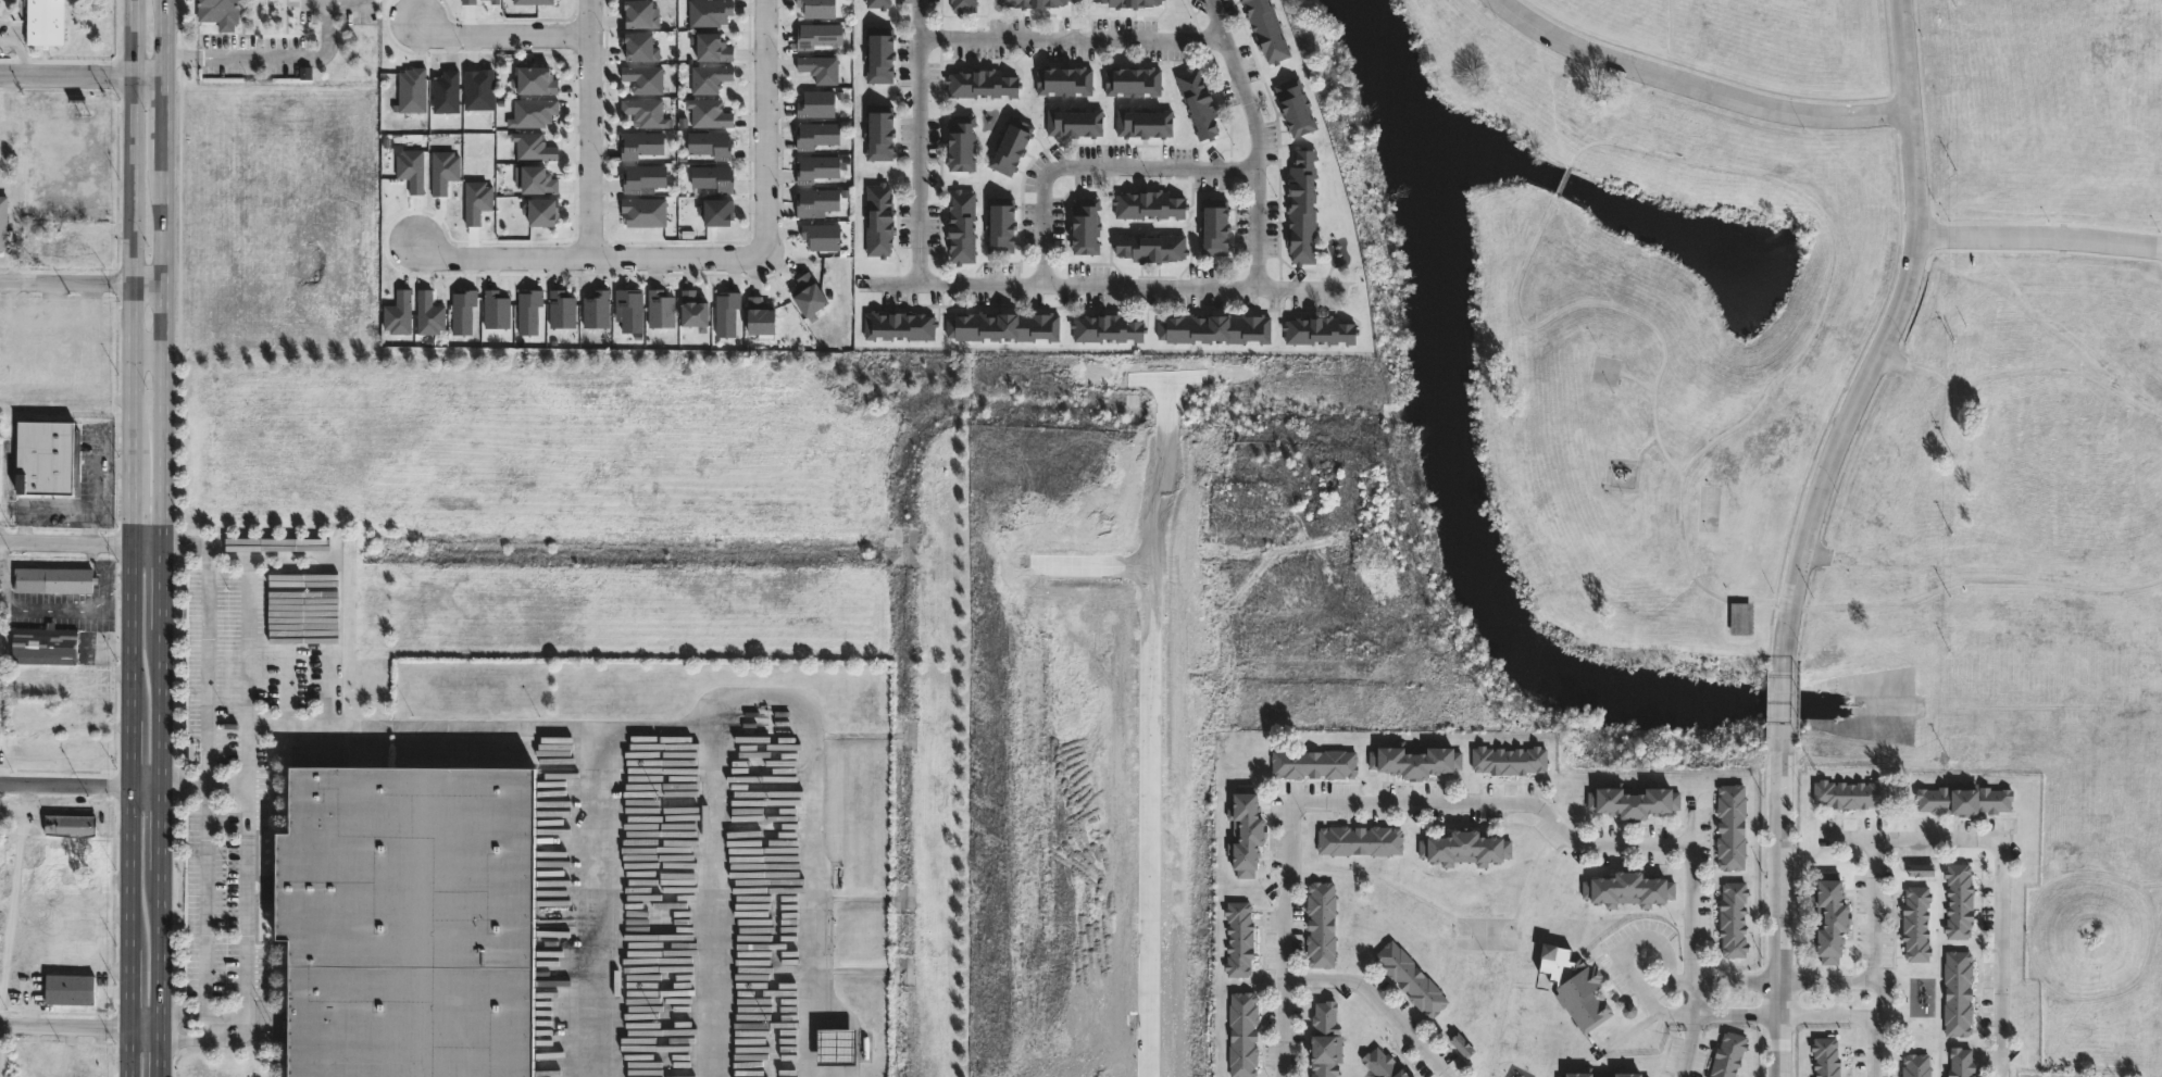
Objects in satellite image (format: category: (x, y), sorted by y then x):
building: (468, 1)
building: (496, 1)
building: (534, 2)
building: (880, 3)
building: (1030, 3)
building: (1130, 3)
building: (961, 5)
building: (818, 8)
road: (328, 9)
building: (221, 12)
building: (709, 12)
building: (640, 13)
road: (918, 17)
building: (47, 22)
building: (1264, 30)
building: (818, 35)
road: (501, 37)
road: (1072, 37)
road: (164, 38)
building: (641, 46)
building: (713, 48)
road: (18, 53)
building: (882, 53)
road: (242, 58)
building: (820, 67)
road: (82, 77)
building: (645, 77)
building: (710, 77)
building: (536, 79)
building: (1062, 82)
building: (1130, 82)
building: (979, 84)
road: (1697, 87)
building: (479, 88)
building: (412, 90)
building: (447, 91)
building: (818, 103)
building: (1196, 103)
building: (1296, 105)
building: (647, 111)
building: (534, 112)
building: (708, 113)
road: (163, 118)
building: (1072, 123)
building: (1141, 123)
building: (0, 124)
road: (592, 127)
road: (765, 127)
building: (882, 130)
building: (818, 135)
building: (642, 143)
building: (959, 143)
building: (712, 145)
building: (1011, 145)
building: (534, 147)
road: (918, 160)
road: (1095, 165)
building: (817, 167)
building: (412, 168)
building: (443, 170)
building: (643, 176)
building: (714, 177)
building: (538, 179)
road: (1562, 180)
building: (477, 200)
building: (817, 201)
building: (1146, 205)
building: (1300, 206)
building: (543, 210)
building: (645, 211)
building: (720, 211)
building: (876, 218)
building: (3, 224)
building: (998, 226)
building: (1083, 226)
building: (959, 228)
building: (1213, 228)
road: (1834, 230)
building: (822, 235)
road: (2039, 238)
building: (80, 239)
building: (1149, 248)
road: (592, 255)
road: (80, 283)
road: (893, 283)
road: (1234, 286)
road: (1304, 286)
building: (812, 295)
building: (497, 309)
building: (563, 309)
building: (598, 309)
building: (632, 309)
building: (661, 309)
building: (696, 309)
building: (463, 310)
building: (529, 310)
building: (727, 312)
building: (399, 313)
building: (429, 313)
building: (763, 316)
building: (899, 325)
building: (1004, 325)
building: (1108, 327)
building: (1217, 328)
building: (1320, 329)
road: (1888, 334)
road: (148, 347)
road: (163, 352)
road: (1638, 380)
park: (1790, 401)
road: (1645, 447)
building: (47, 455)
building: (1622, 481)
road: (1635, 489)
park: (1708, 508)
road: (133, 538)
road: (82, 542)
road: (1684, 544)
building: (54, 579)
road: (163, 588)
road: (2152, 588)
building: (1740, 618)
building: (45, 644)
road: (1783, 703)
road: (161, 709)
building: (1413, 760)
building: (1508, 760)
building: (1312, 763)
road: (79, 785)
road: (207, 787)
road: (184, 788)
road: (247, 789)
building: (1849, 793)
building: (1962, 799)
building: (1632, 800)
road: (82, 807)
road: (1290, 824)
building: (71, 826)
building: (1729, 827)
road: (160, 829)
building: (1244, 830)
road: (1849, 837)
road: (1935, 838)
building: (1358, 840)
building: (1463, 849)
road: (1690, 873)
road: (1377, 877)
road: (2147, 885)
building: (1626, 889)
building: (1958, 901)
road: (22, 904)
road: (1782, 914)
building: (1829, 917)
building: (1732, 919)
building: (409, 921)
building: (1915, 923)
building: (1320, 925)
road: (2158, 927)
park: (1484, 934)
building: (1237, 939)
road: (1515, 947)
road: (161, 950)
road: (1621, 951)
building: (1409, 979)
road: (1783, 981)
building: (1573, 986)
building: (70, 988)
building: (1957, 992)
road: (2098, 995)
road: (1377, 1001)
road: (1736, 1014)
road: (1827, 1016)
road: (80, 1027)
building: (1241, 1035)
road: (1621, 1037)
road: (1645, 1037)
building: (1323, 1040)
building: (1462, 1045)
building: (837, 1048)
road: (1, 1051)
road: (161, 1053)
building: (1726, 1055)
building: (1825, 1057)
building: (1960, 1062)
building: (1379, 1064)
building: (1914, 1066)
road: (1498, 1070)
building: (1600, 1073)
building: (1408, 1076)

